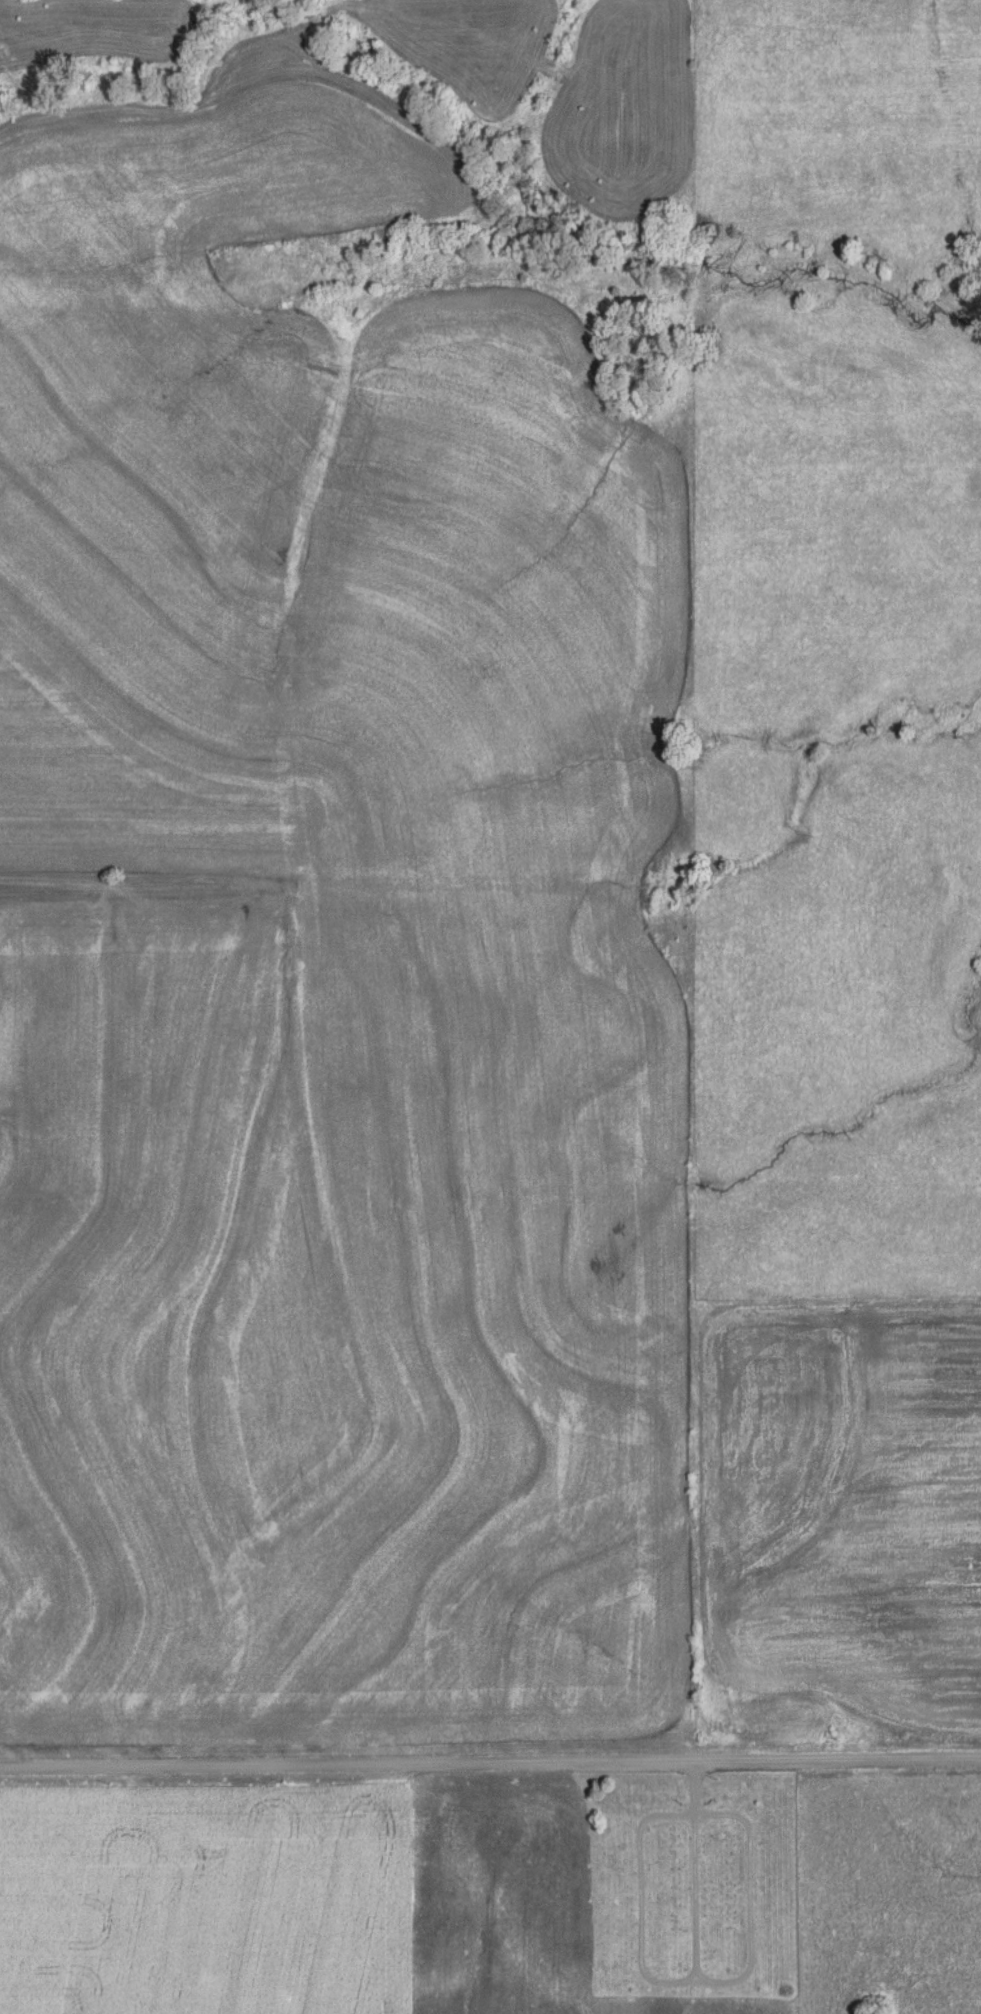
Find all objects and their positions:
road: (490, 1761)
park: (691, 1884)
crop: (259, 1904)

